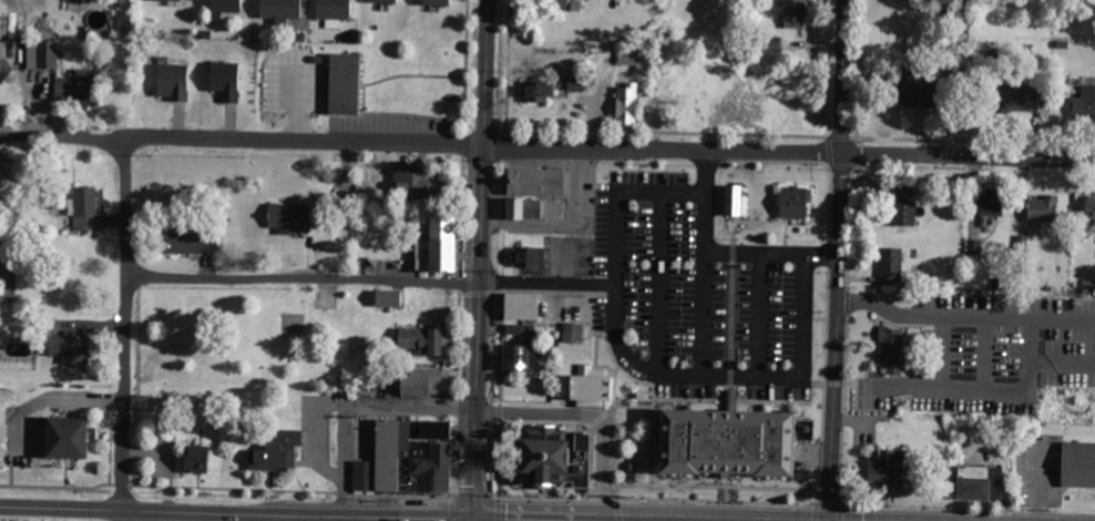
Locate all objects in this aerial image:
building: (180, 0)
building: (387, 1)
building: (440, 2)
building: (555, 3)
building: (231, 7)
building: (283, 8)
building: (335, 10)
building: (797, 12)
building: (3, 35)
building: (775, 42)
building: (48, 52)
road: (506, 67)
road: (397, 71)
building: (956, 74)
building: (226, 80)
building: (579, 81)
building: (174, 82)
building: (79, 84)
building: (538, 90)
building: (1017, 92)
building: (370, 93)
building: (919, 94)
building: (630, 103)
building: (1084, 104)
road: (362, 126)
road: (667, 130)
road: (840, 136)
road: (463, 139)
road: (973, 140)
road: (421, 142)
road: (502, 143)
road: (830, 150)
road: (968, 154)
road: (769, 157)
road: (842, 166)
building: (540, 170)
building: (416, 183)
building: (345, 196)
building: (733, 198)
building: (89, 200)
building: (795, 200)
building: (993, 201)
road: (831, 202)
building: (1092, 203)
building: (908, 204)
road: (484, 205)
building: (526, 206)
building: (1046, 207)
road: (504, 213)
building: (291, 215)
road: (761, 218)
building: (81, 222)
road: (849, 222)
road: (731, 227)
road: (785, 229)
building: (190, 238)
building: (974, 245)
road: (784, 248)
road: (730, 252)
road: (771, 252)
road: (829, 253)
building: (437, 254)
building: (529, 256)
road: (703, 257)
road: (838, 260)
building: (894, 265)
road: (661, 278)
road: (502, 280)
road: (372, 282)
road: (458, 283)
road: (479, 293)
road: (461, 294)
parking lot: (698, 295)
building: (389, 297)
road: (848, 302)
building: (524, 306)
road: (730, 311)
road: (756, 313)
road: (964, 315)
road: (808, 316)
road: (821, 318)
building: (518, 328)
road: (127, 329)
building: (574, 331)
building: (428, 340)
road: (458, 341)
road: (501, 346)
building: (73, 348)
building: (893, 348)
road: (943, 350)
parking lot: (993, 353)
building: (524, 356)
road: (1062, 360)
road: (641, 369)
road: (729, 372)
road: (627, 374)
park: (215, 378)
road: (807, 378)
road: (613, 381)
road: (819, 381)
building: (420, 382)
road: (836, 382)
road: (825, 384)
building: (589, 385)
road: (990, 389)
road: (55, 396)
road: (729, 397)
road: (631, 403)
road: (458, 406)
road: (843, 408)
road: (389, 410)
road: (500, 411)
road: (594, 413)
road: (603, 415)
road: (547, 420)
road: (657, 431)
building: (71, 436)
road: (321, 436)
road: (651, 442)
building: (733, 442)
road: (613, 450)
building: (279, 451)
parking lot: (162, 454)
road: (630, 454)
road: (816, 454)
road: (456, 456)
building: (199, 457)
building: (407, 458)
road: (499, 458)
road: (594, 459)
building: (556, 460)
building: (628, 463)
building: (1079, 463)
road: (477, 466)
parking lot: (1037, 468)
building: (888, 471)
building: (982, 481)
road: (1038, 482)
road: (716, 483)
road: (346, 487)
road: (727, 490)
road: (477, 493)
road: (542, 496)
road: (600, 496)
road: (816, 500)
road: (829, 501)
road: (842, 501)
road: (715, 503)
road: (452, 508)
road: (968, 508)
road: (62, 509)
road: (498, 509)
road: (617, 509)
road: (816, 511)
road: (840, 511)
road: (300, 515)
building: (152, 517)
road: (304, 519)
road: (345, 519)
traffic signals: (475, 520)
road: (487, 520)

